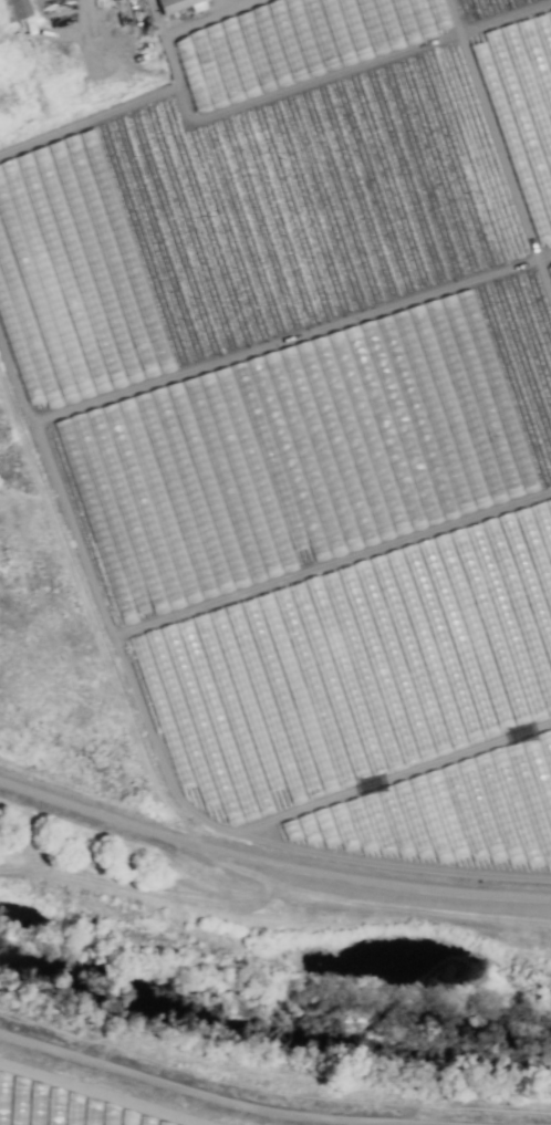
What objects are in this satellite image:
road: (458, 2)
building: (179, 4)
building: (15, 9)
road: (76, 12)
building: (529, 160)
crop: (277, 470)
river: (271, 1002)
crop: (59, 1107)

